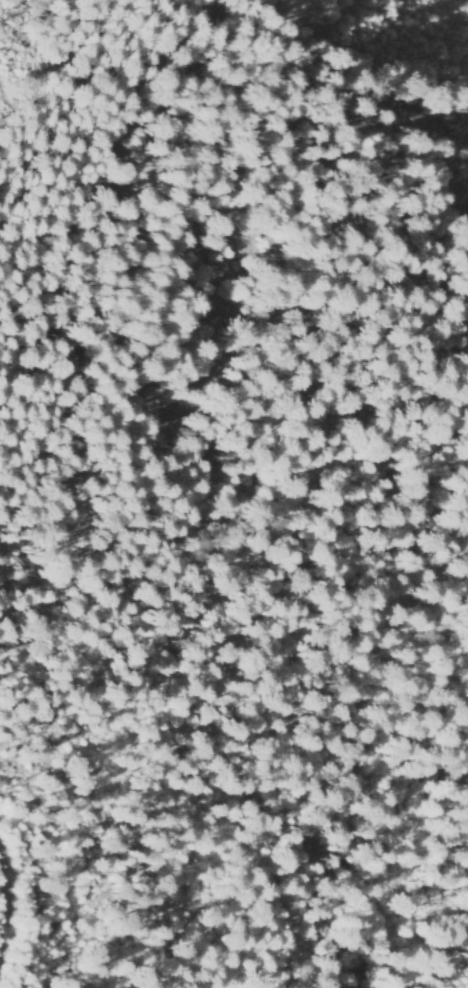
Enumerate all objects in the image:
road: (7, 912)

